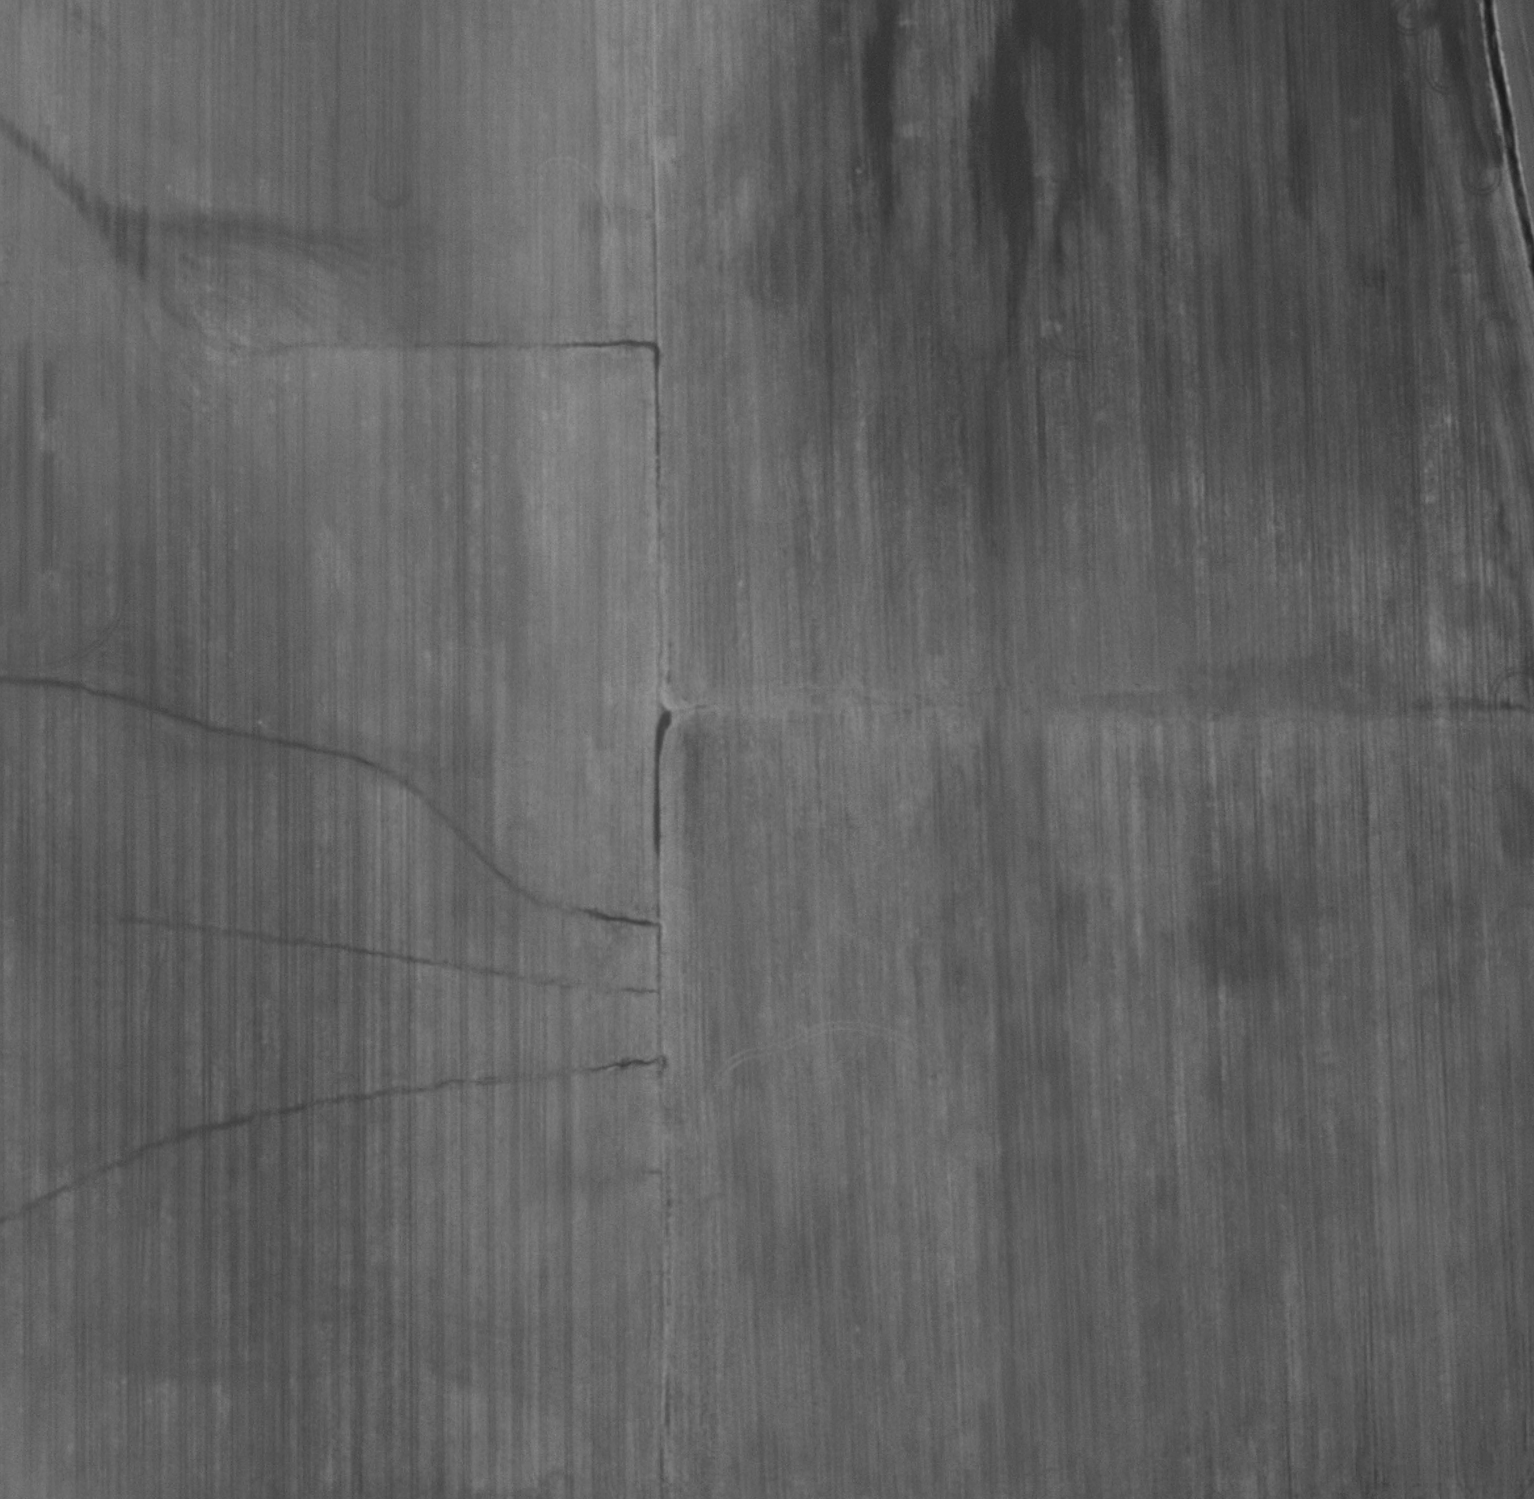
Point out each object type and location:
road: (1508, 135)

